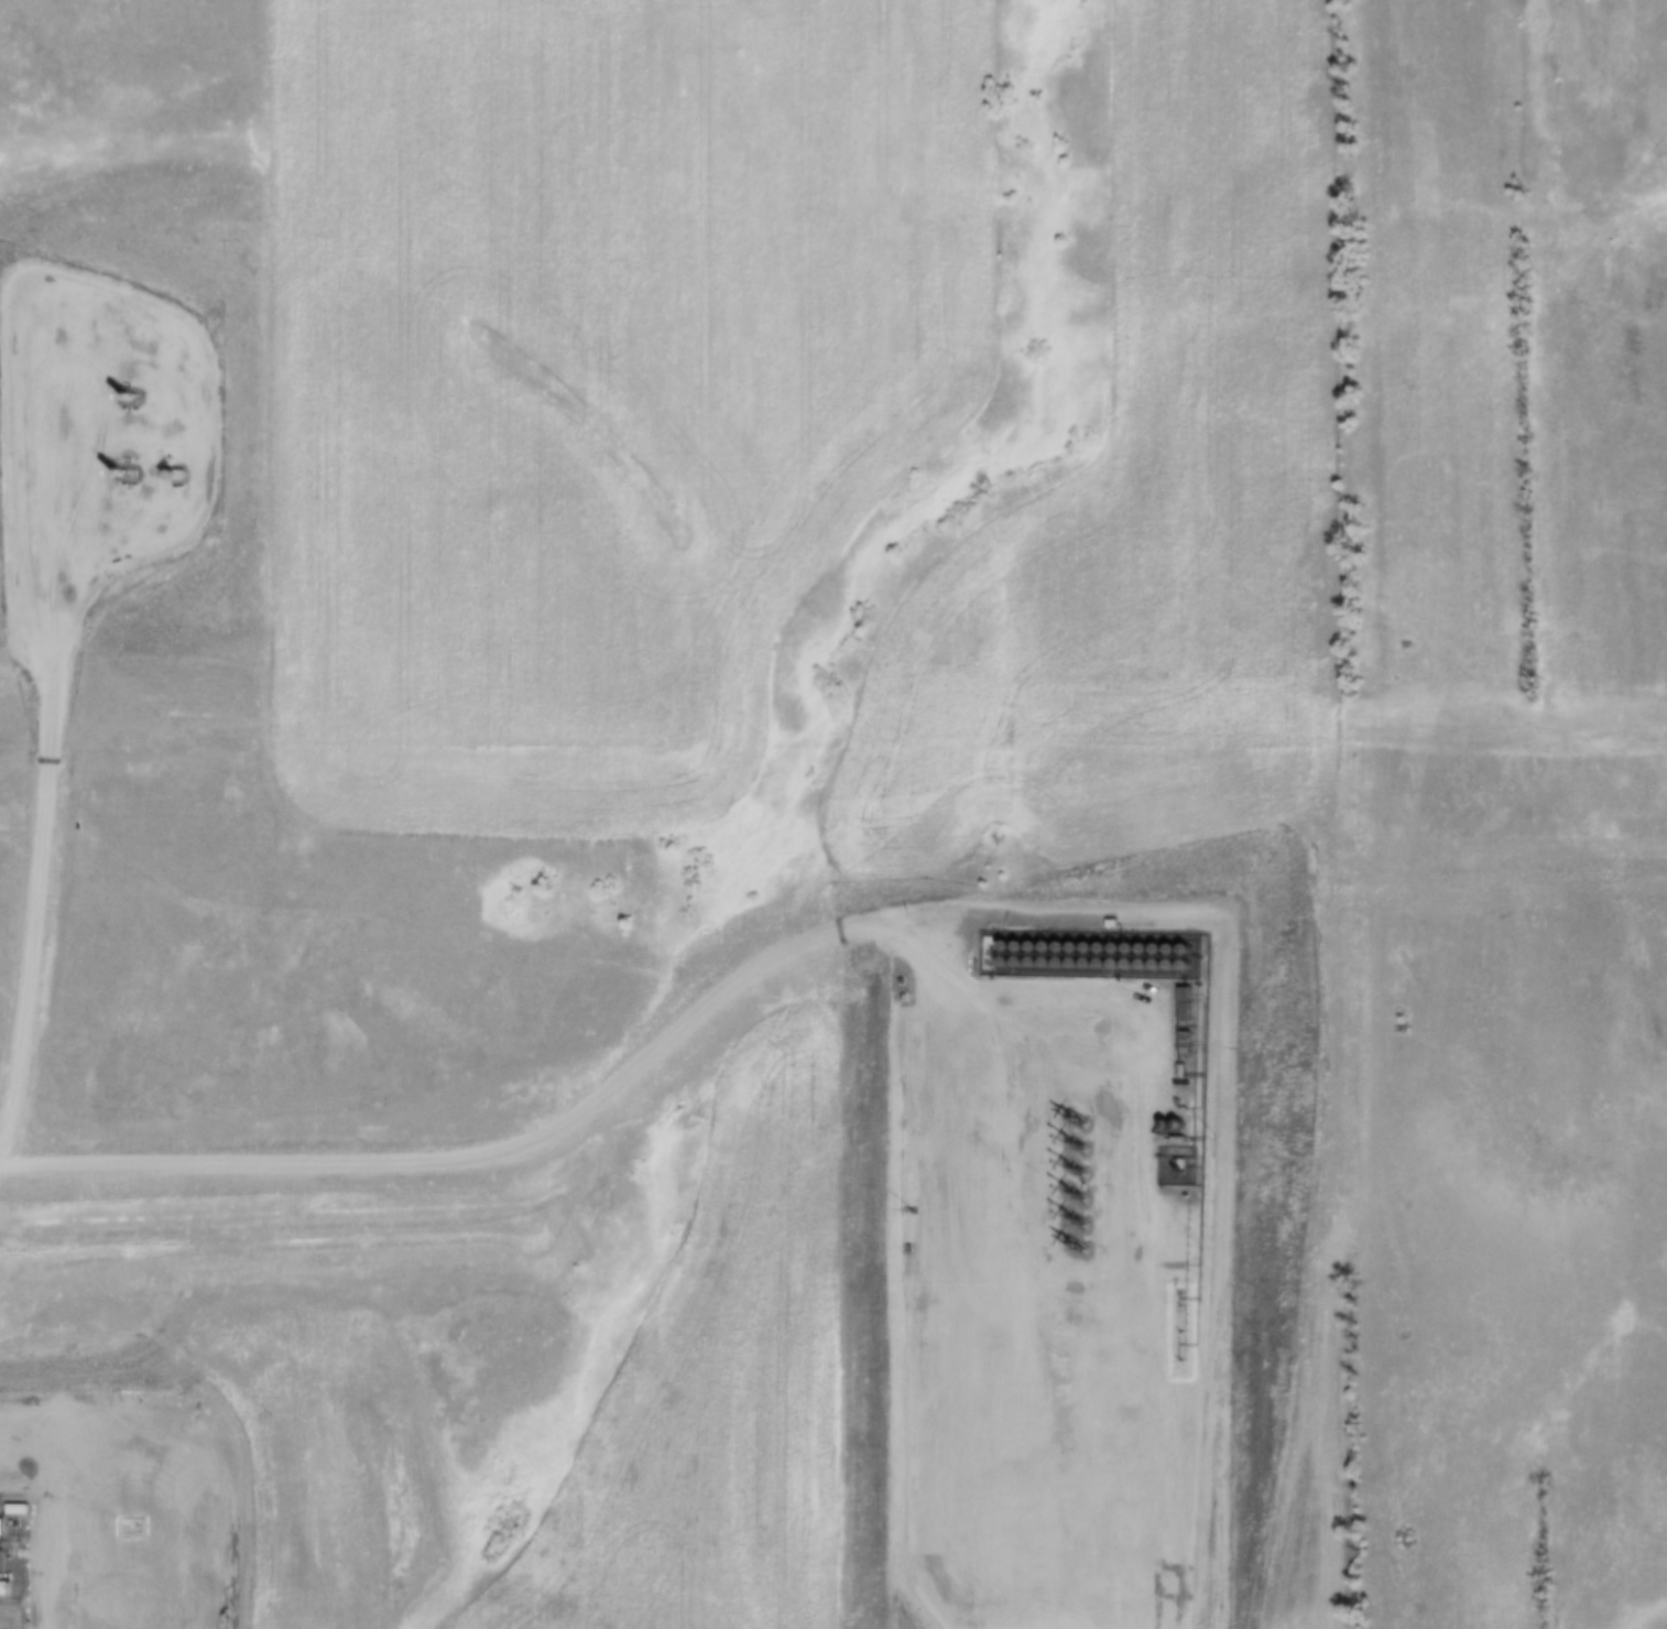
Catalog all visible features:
petroleum well: (119, 394)
petroleum well: (117, 470)
petroleum well: (166, 474)
road: (46, 738)
building: (1107, 923)
building: (983, 954)
building: (896, 980)
building: (1179, 1002)
building: (1180, 1042)
building: (1176, 1071)
petroleum well: (1071, 1117)
road: (538, 1137)
petroleum well: (1070, 1141)
petroleum well: (1068, 1164)
petroleum well: (1067, 1188)
building: (1183, 1198)
petroleum well: (1070, 1216)
petroleum well: (1068, 1240)
road: (1134, 1264)
road: (58, 1507)
building: (13, 1508)
building: (1, 1586)

